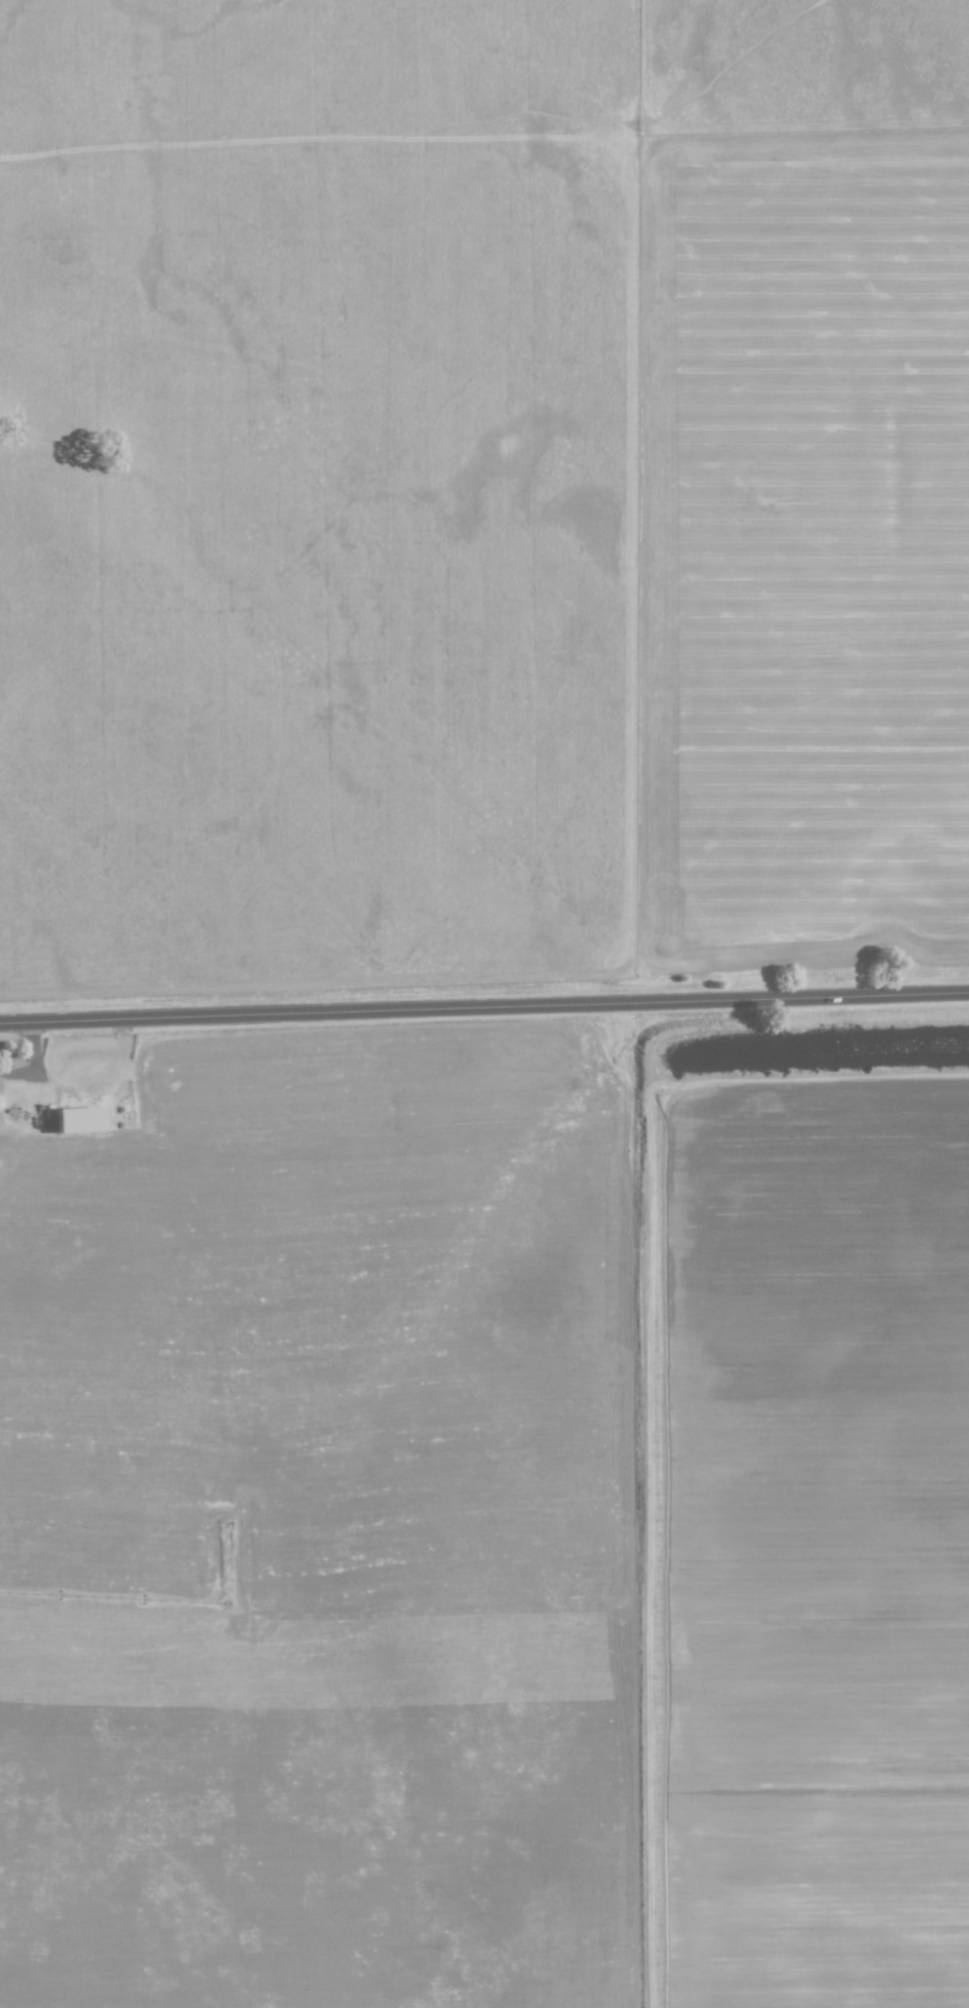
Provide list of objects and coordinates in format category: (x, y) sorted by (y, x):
road: (484, 1007)
road: (33, 1062)
building: (78, 1120)

